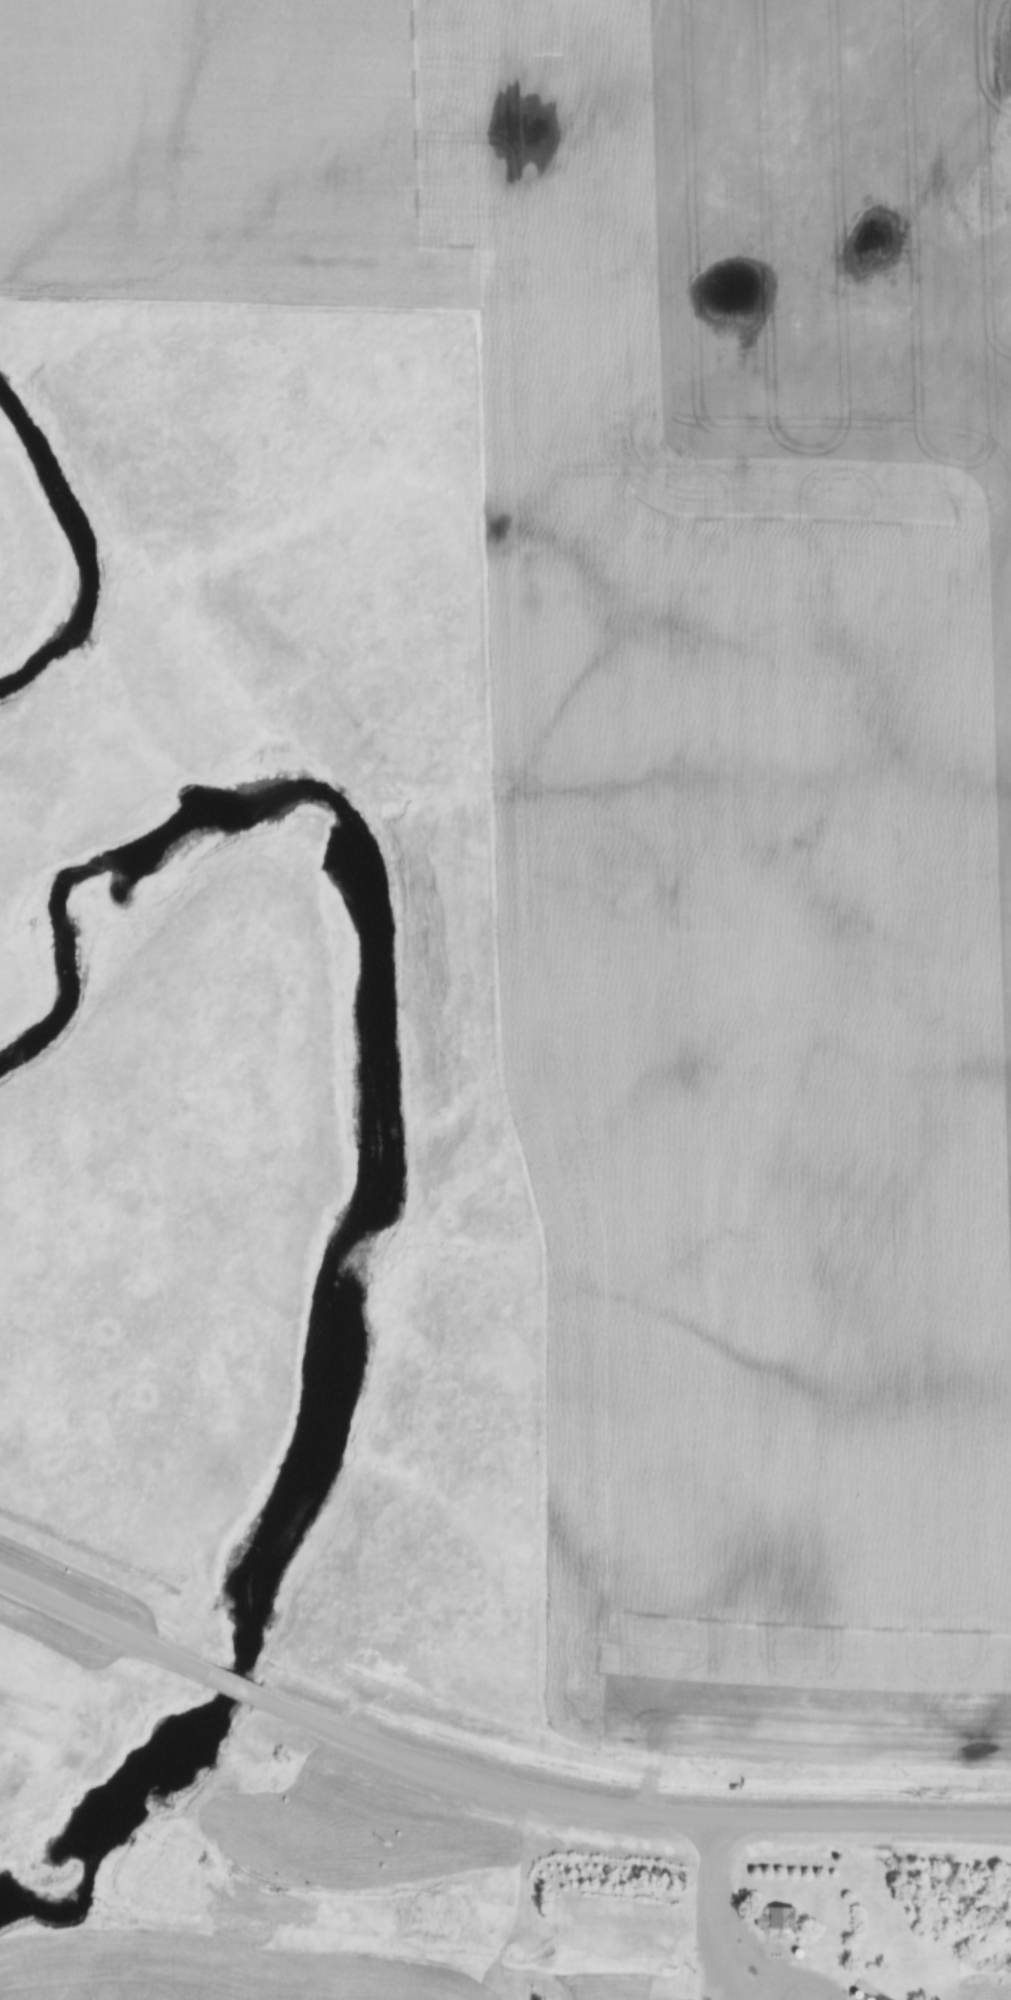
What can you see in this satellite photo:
road: (101, 1626)
road: (228, 1686)
road: (622, 1811)
road: (718, 1920)
building: (776, 1922)
building: (792, 1953)

